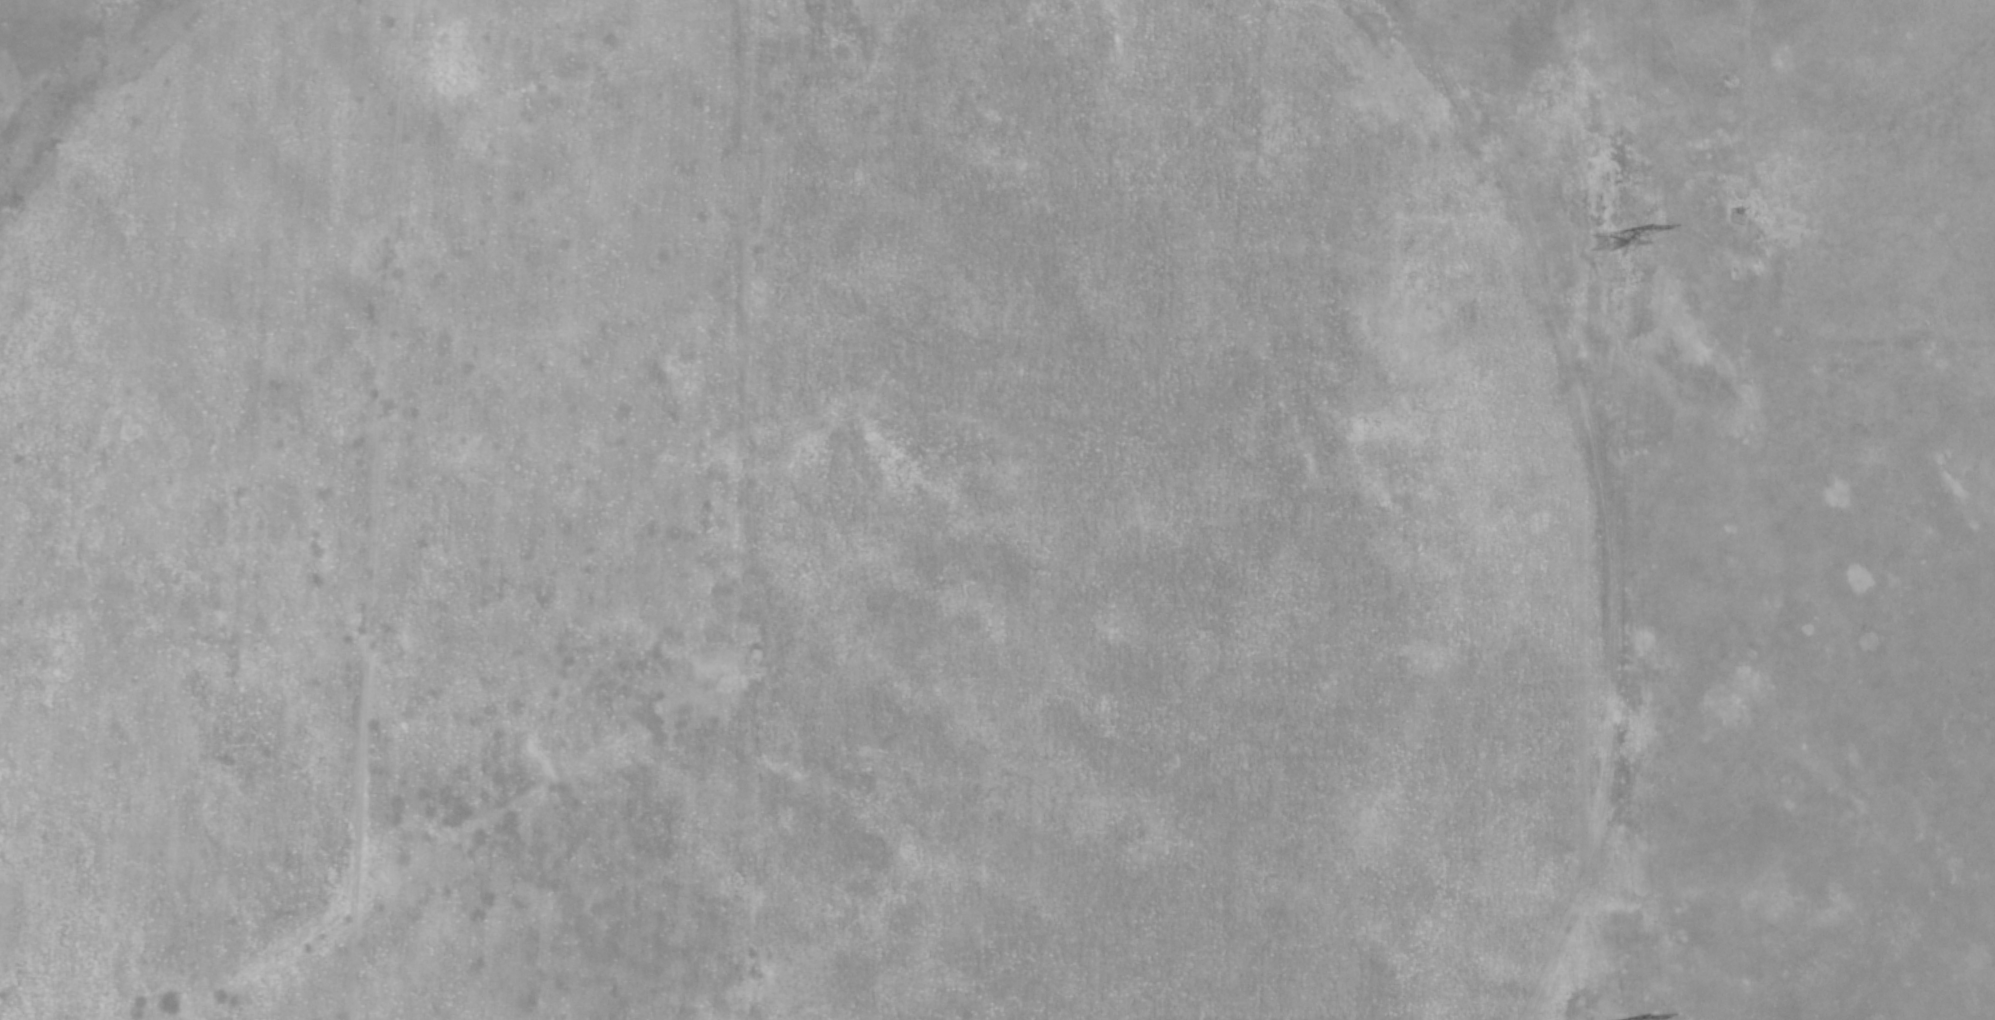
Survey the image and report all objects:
power tower: (1601, 244)

